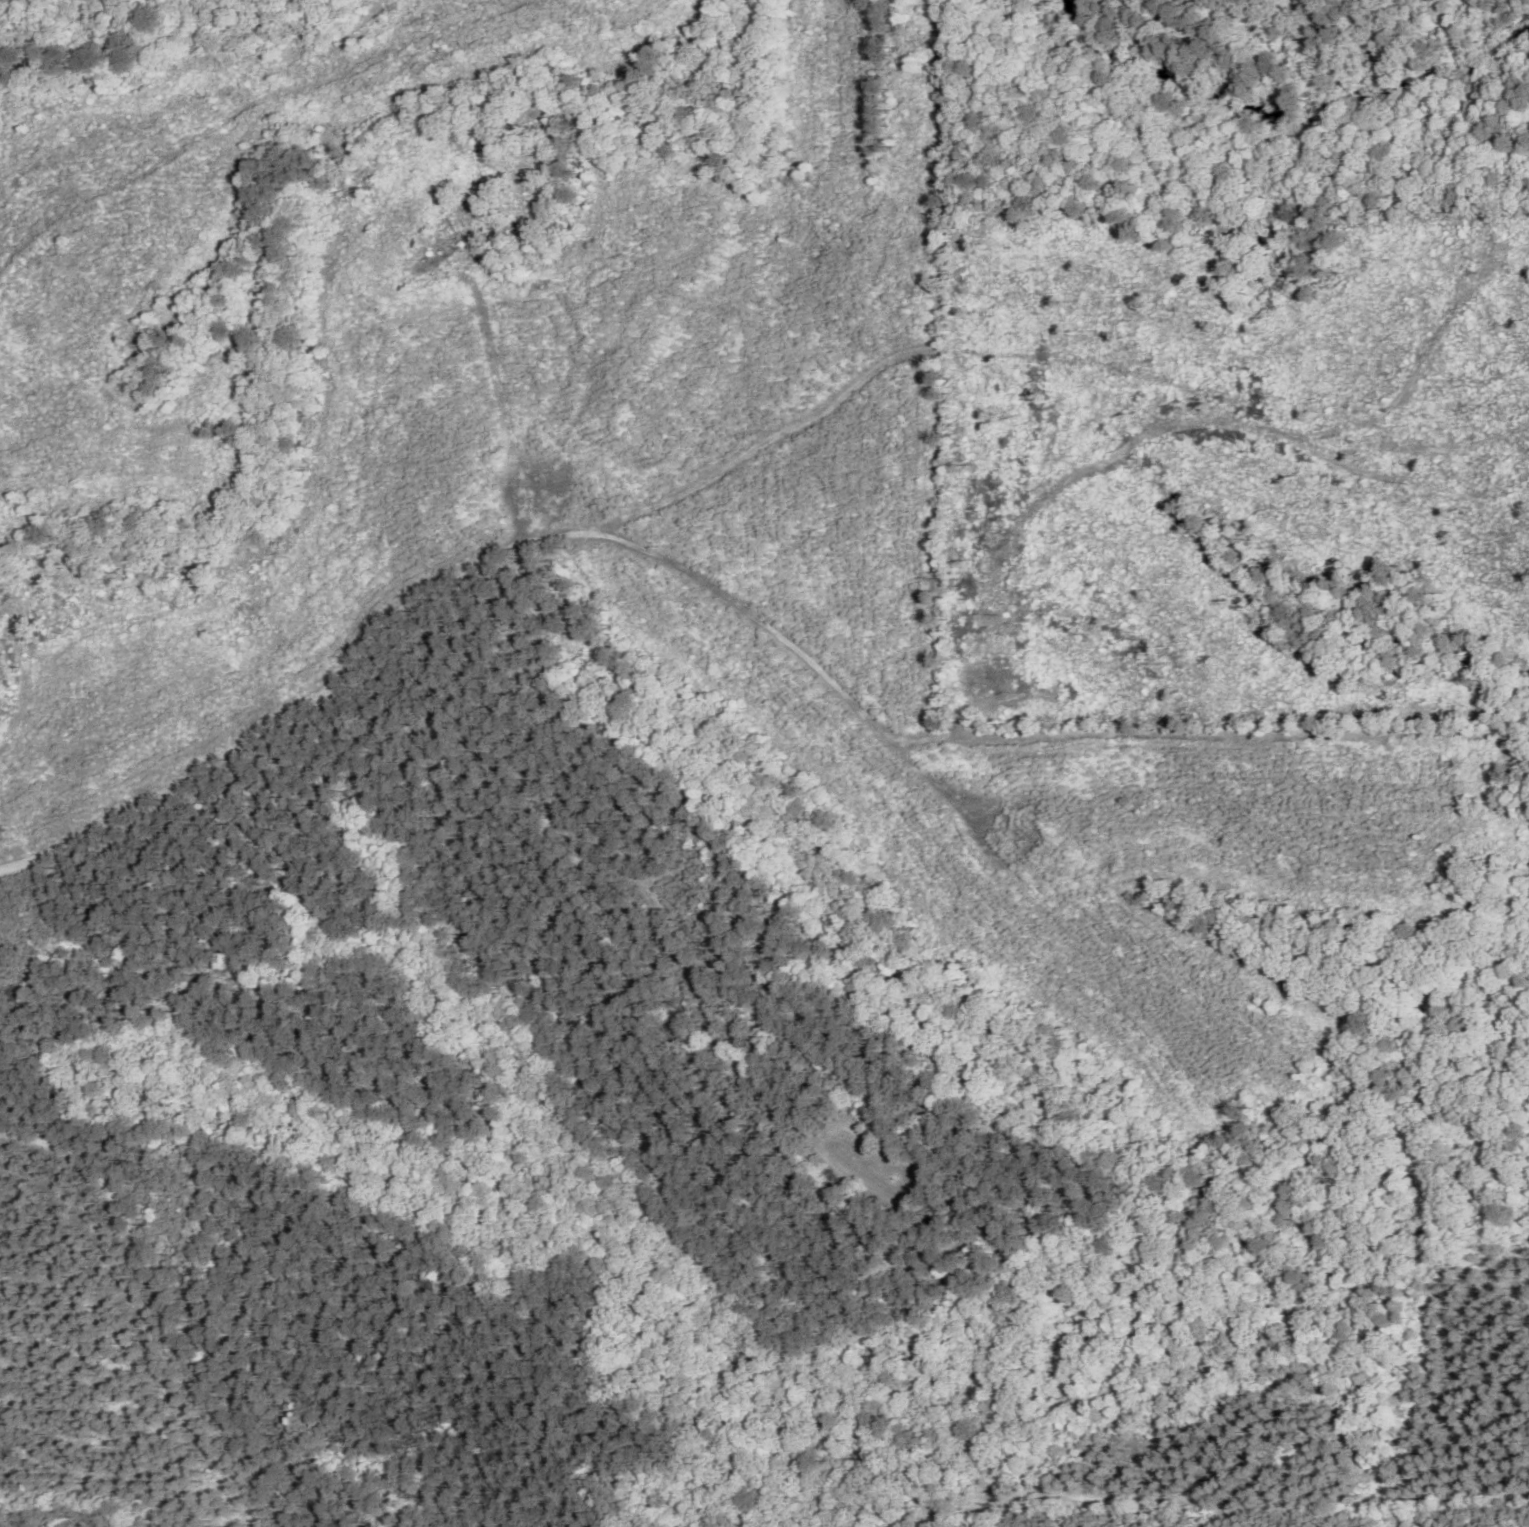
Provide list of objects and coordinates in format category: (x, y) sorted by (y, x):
road: (782, 421)
road: (166, 1311)

